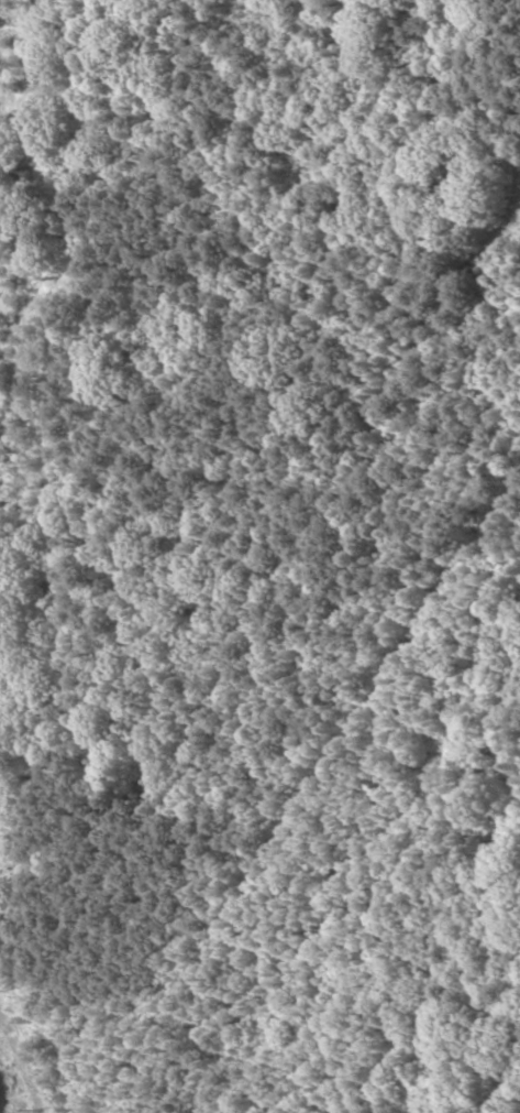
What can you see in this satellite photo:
power tower: (27, 1112)

